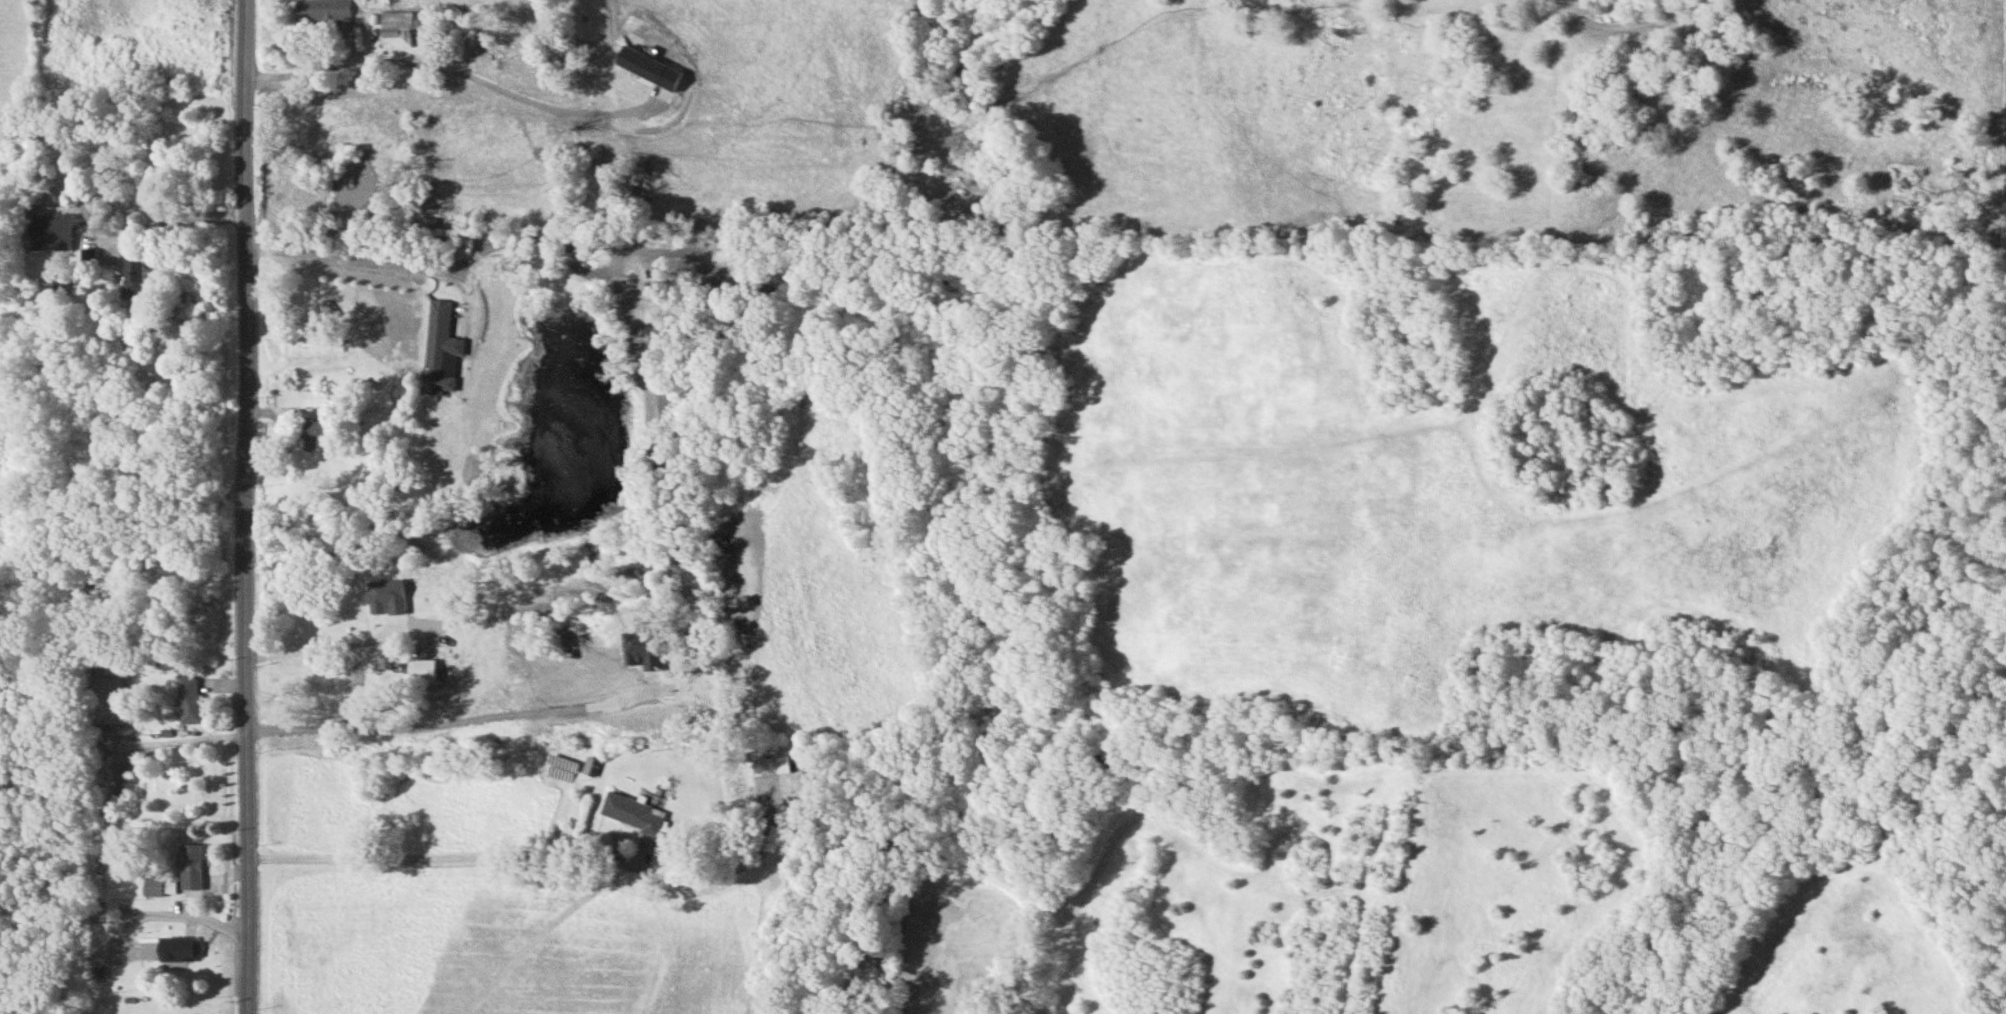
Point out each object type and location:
building: (320, 9)
building: (398, 26)
road: (315, 75)
road: (146, 213)
building: (49, 230)
building: (132, 271)
building: (311, 397)
building: (313, 433)
road: (248, 507)
building: (396, 605)
road: (329, 647)
building: (421, 668)
building: (190, 698)
building: (109, 699)
building: (95, 752)
building: (590, 766)
building: (633, 812)
road: (539, 856)
building: (188, 866)
building: (150, 885)
road: (167, 916)
building: (177, 948)

